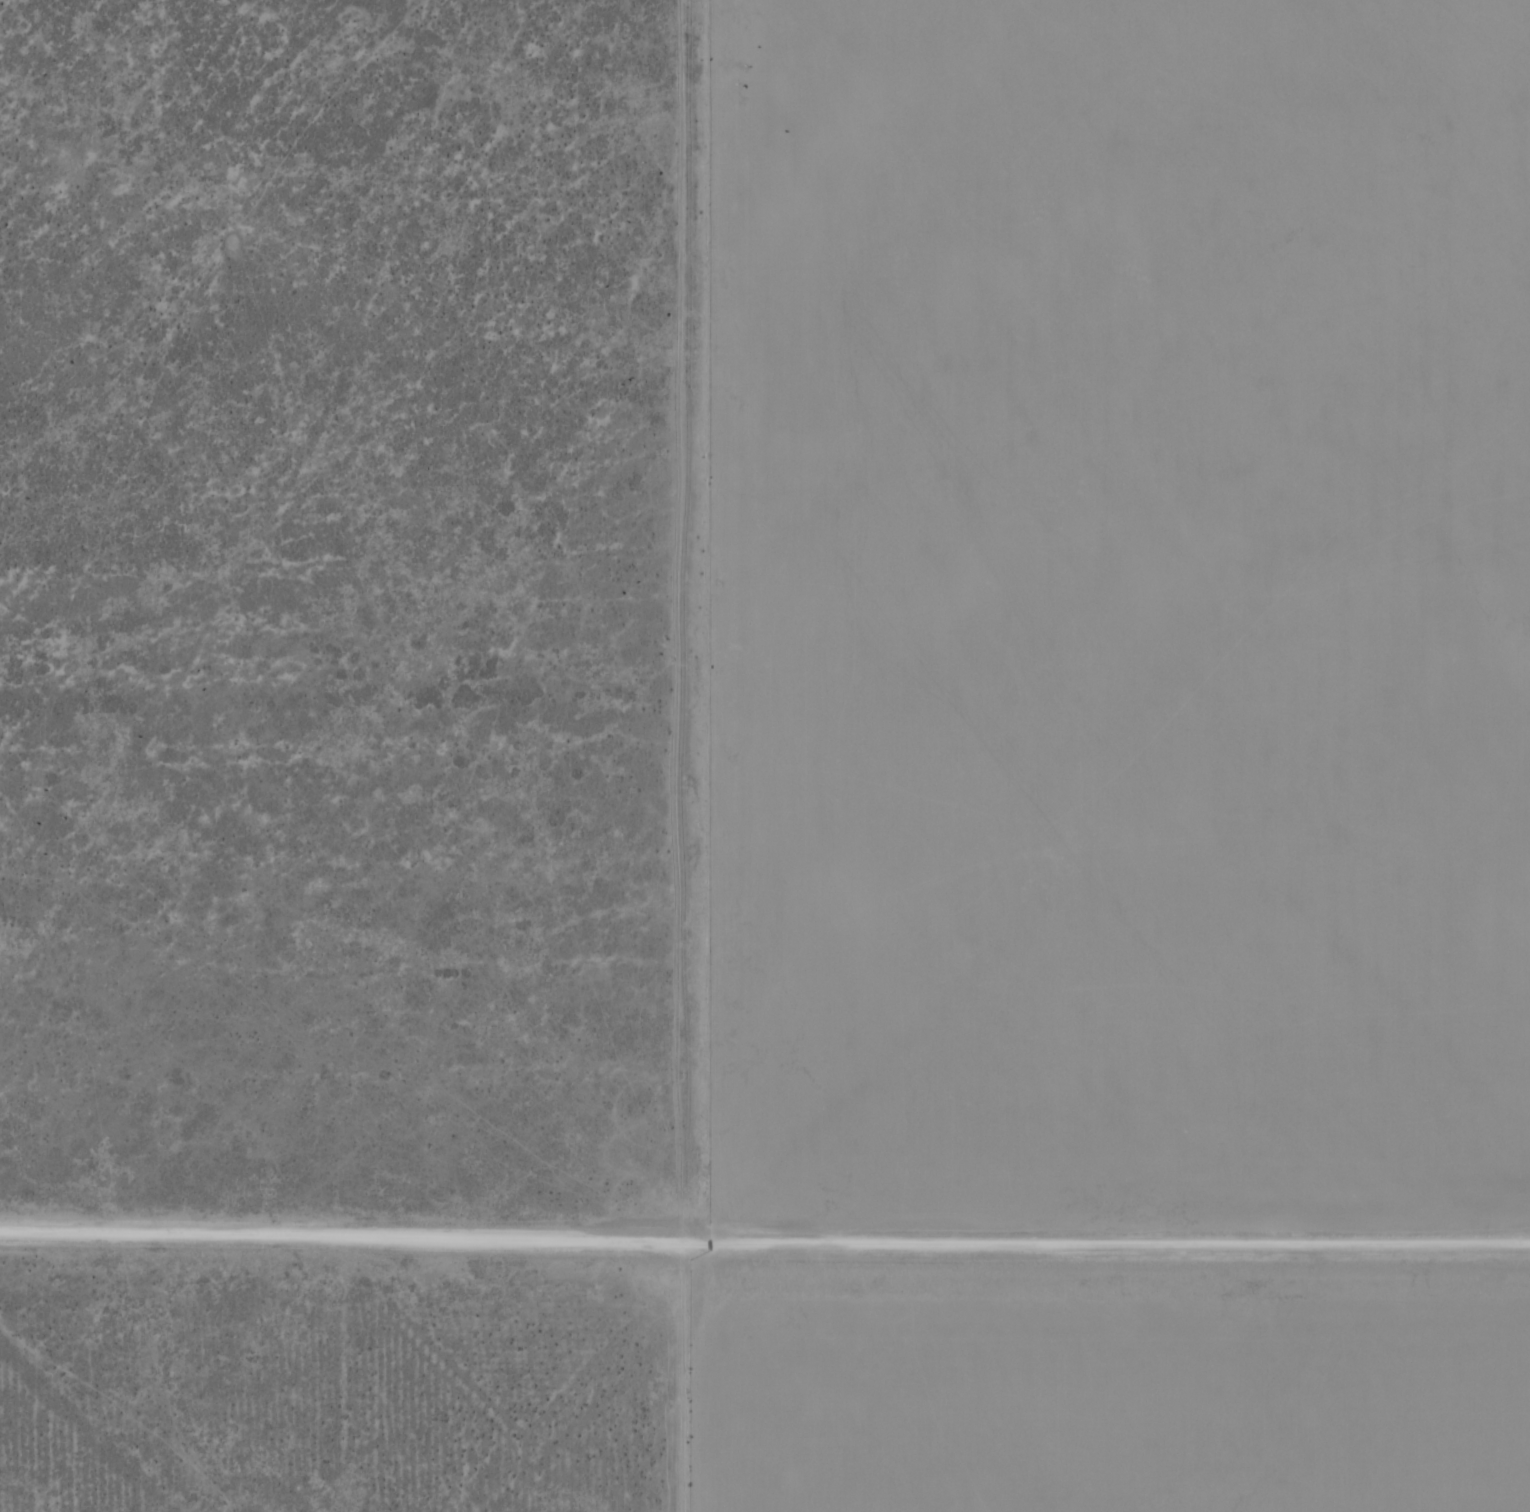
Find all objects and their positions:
road: (764, 1243)

